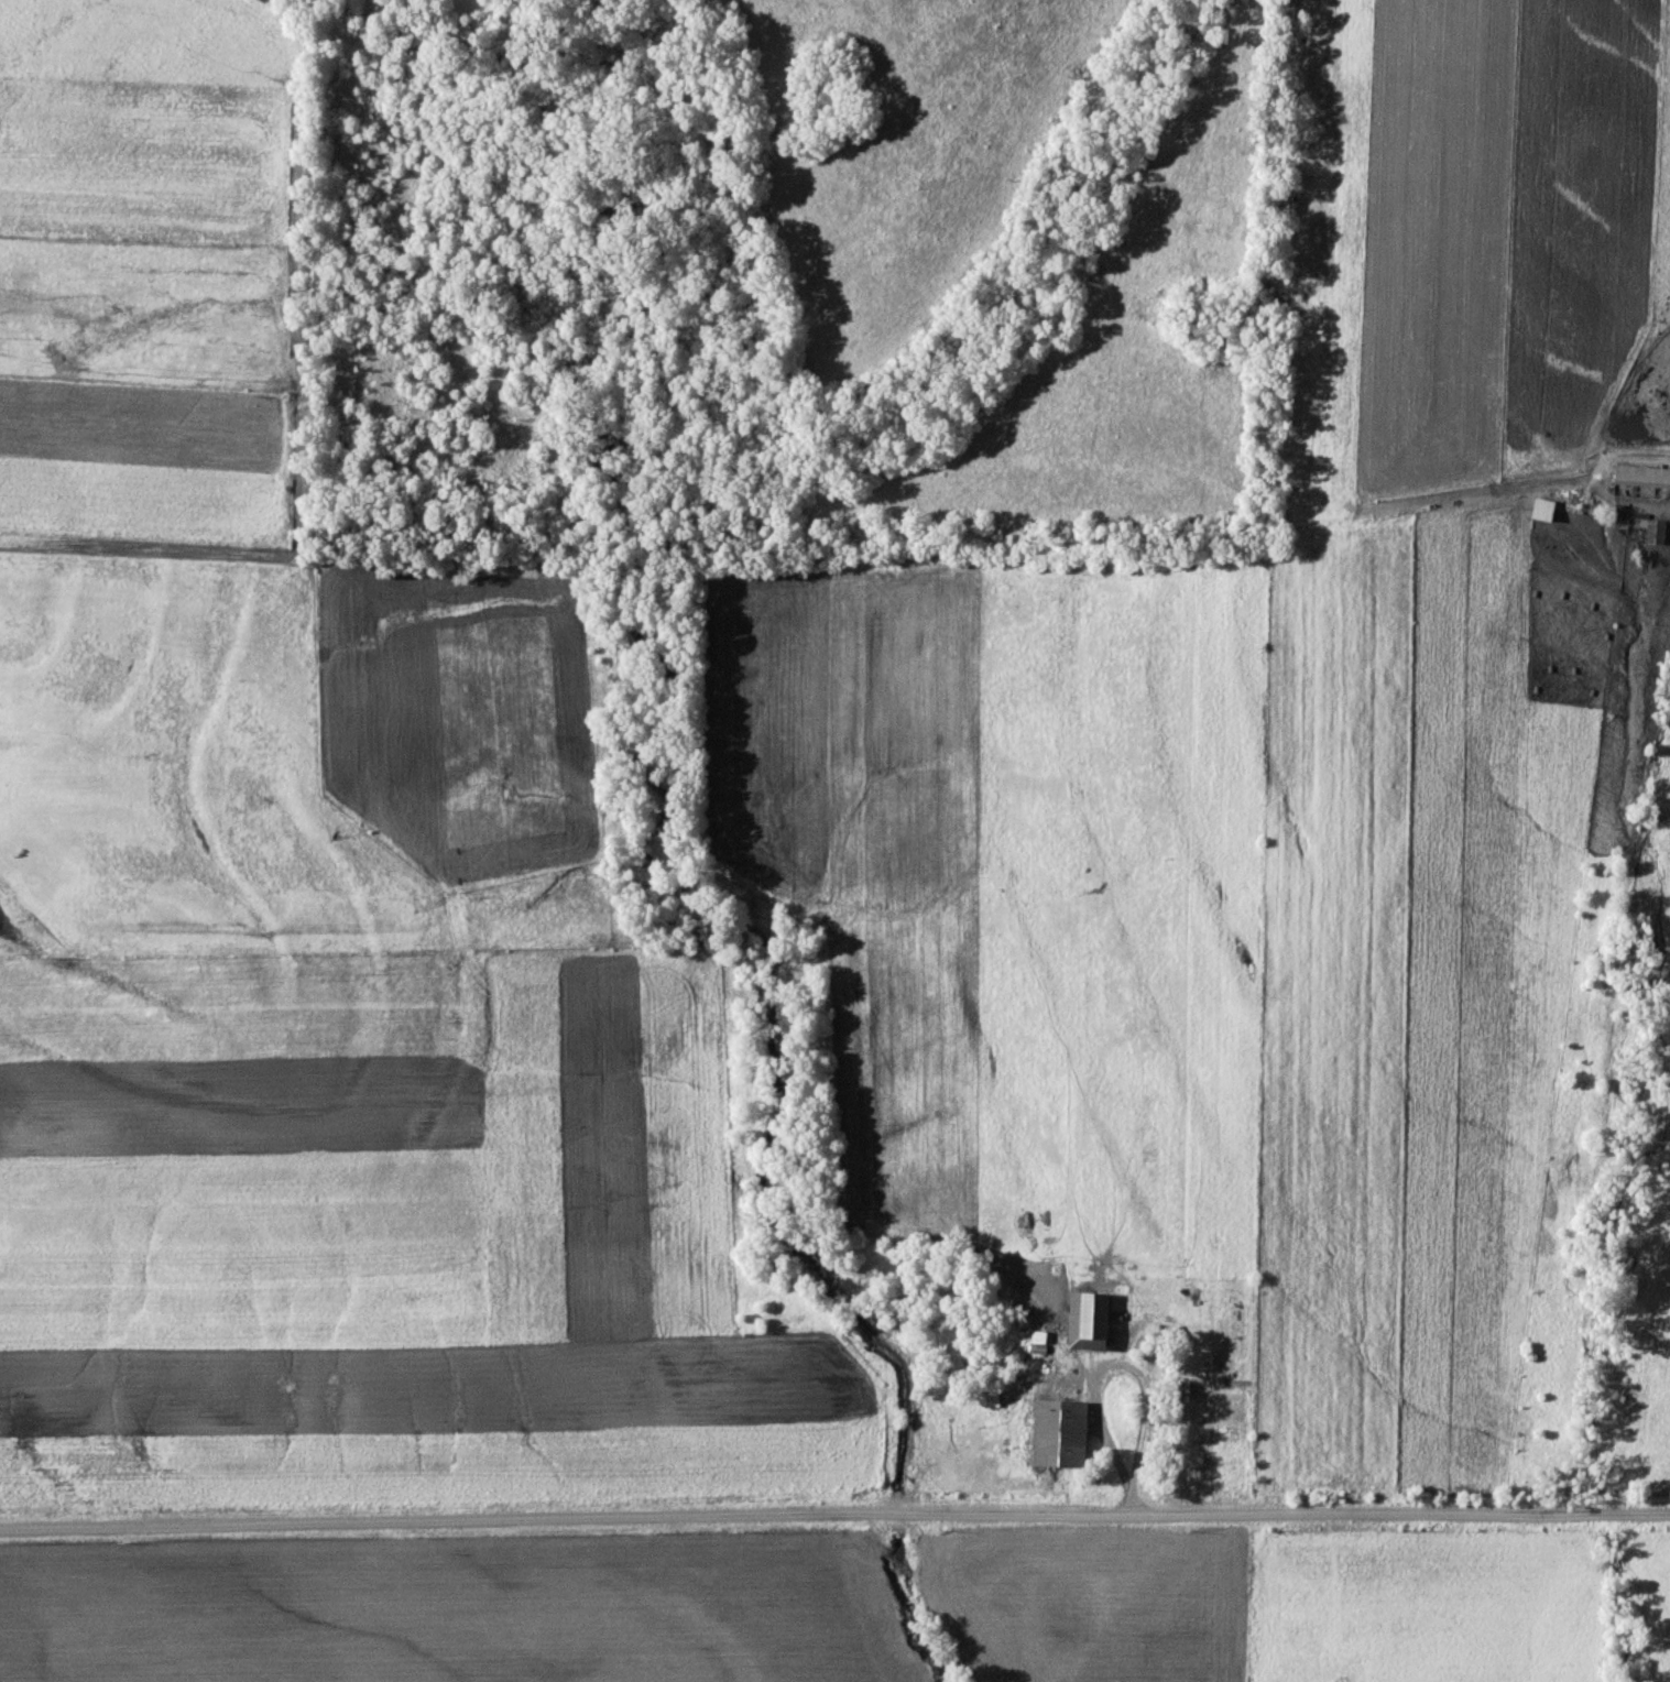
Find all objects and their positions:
building: (1641, 474)
building: (1663, 494)
road: (834, 1523)

